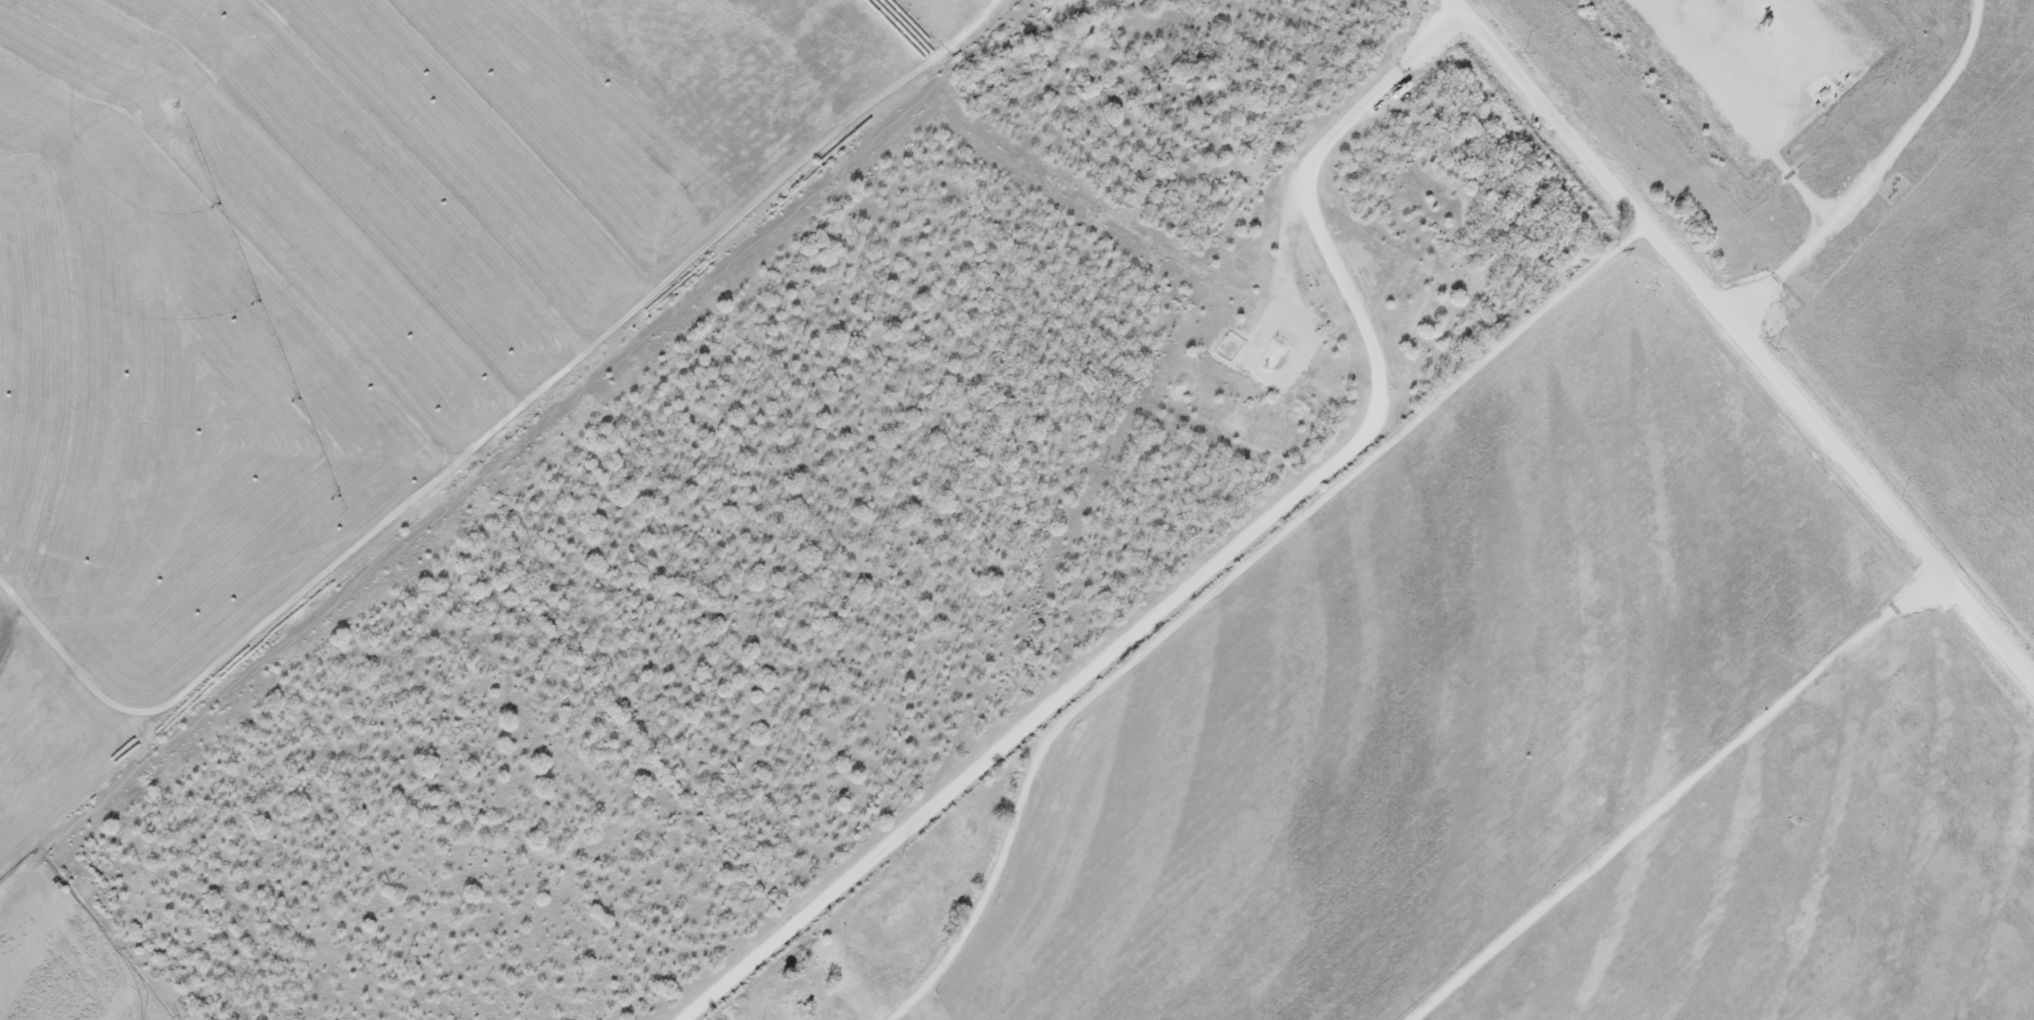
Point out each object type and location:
road: (1739, 110)
road: (1307, 163)
road: (1871, 165)
road: (1747, 335)
road: (1223, 582)
road: (1120, 637)
road: (1686, 797)
road: (244, 1013)

